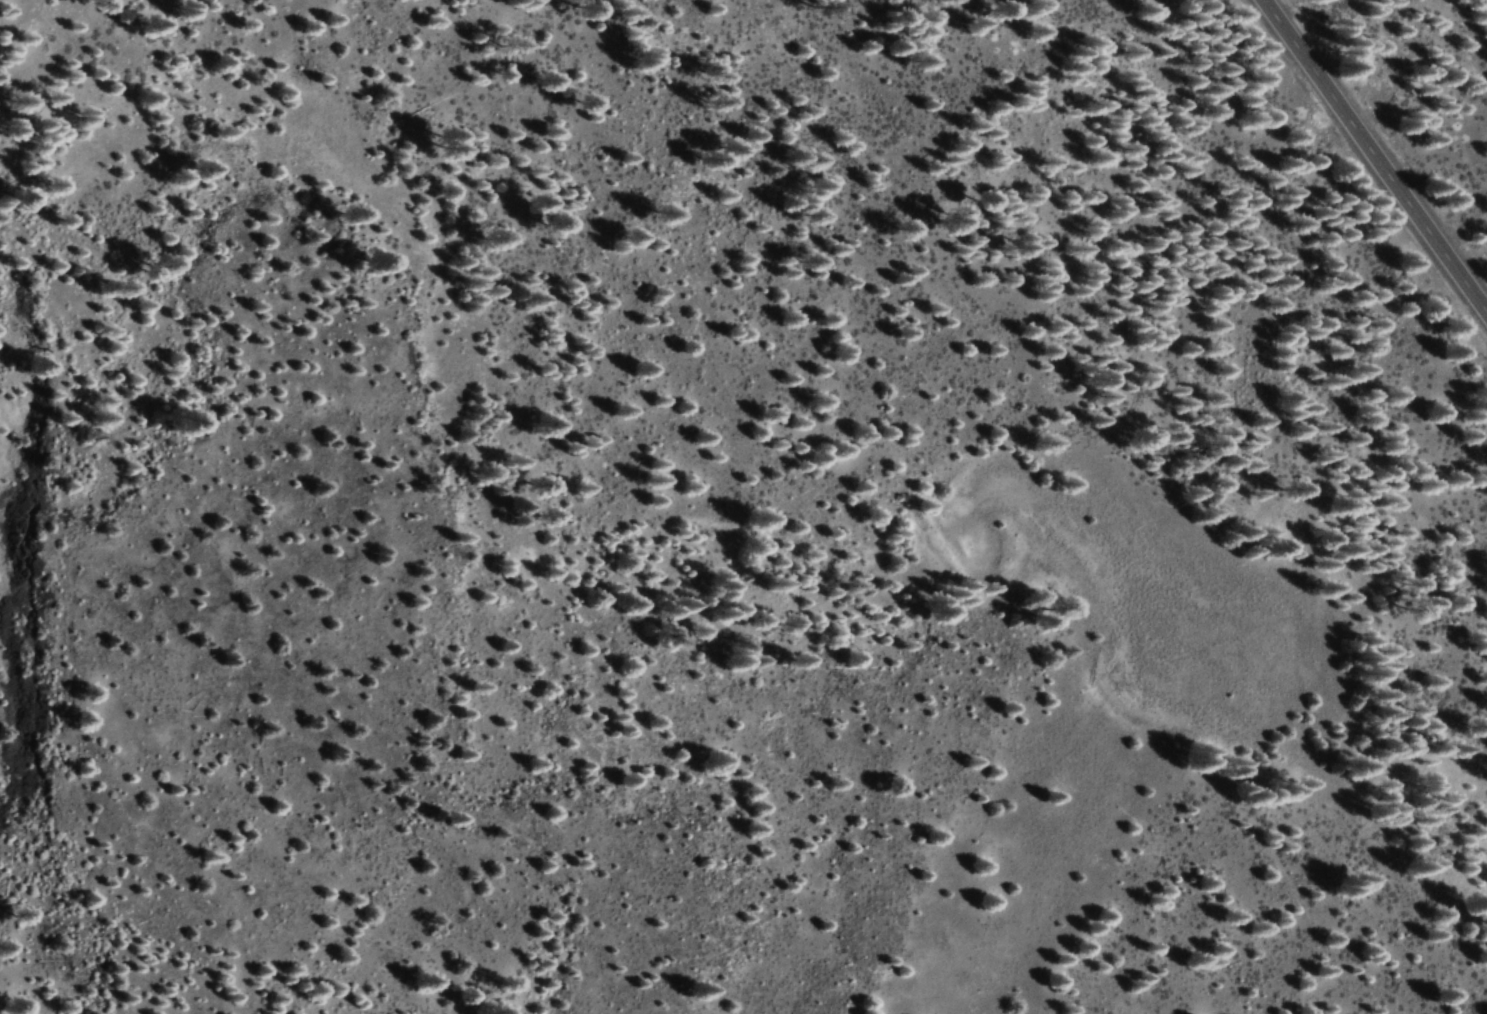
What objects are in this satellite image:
road: (1378, 152)

